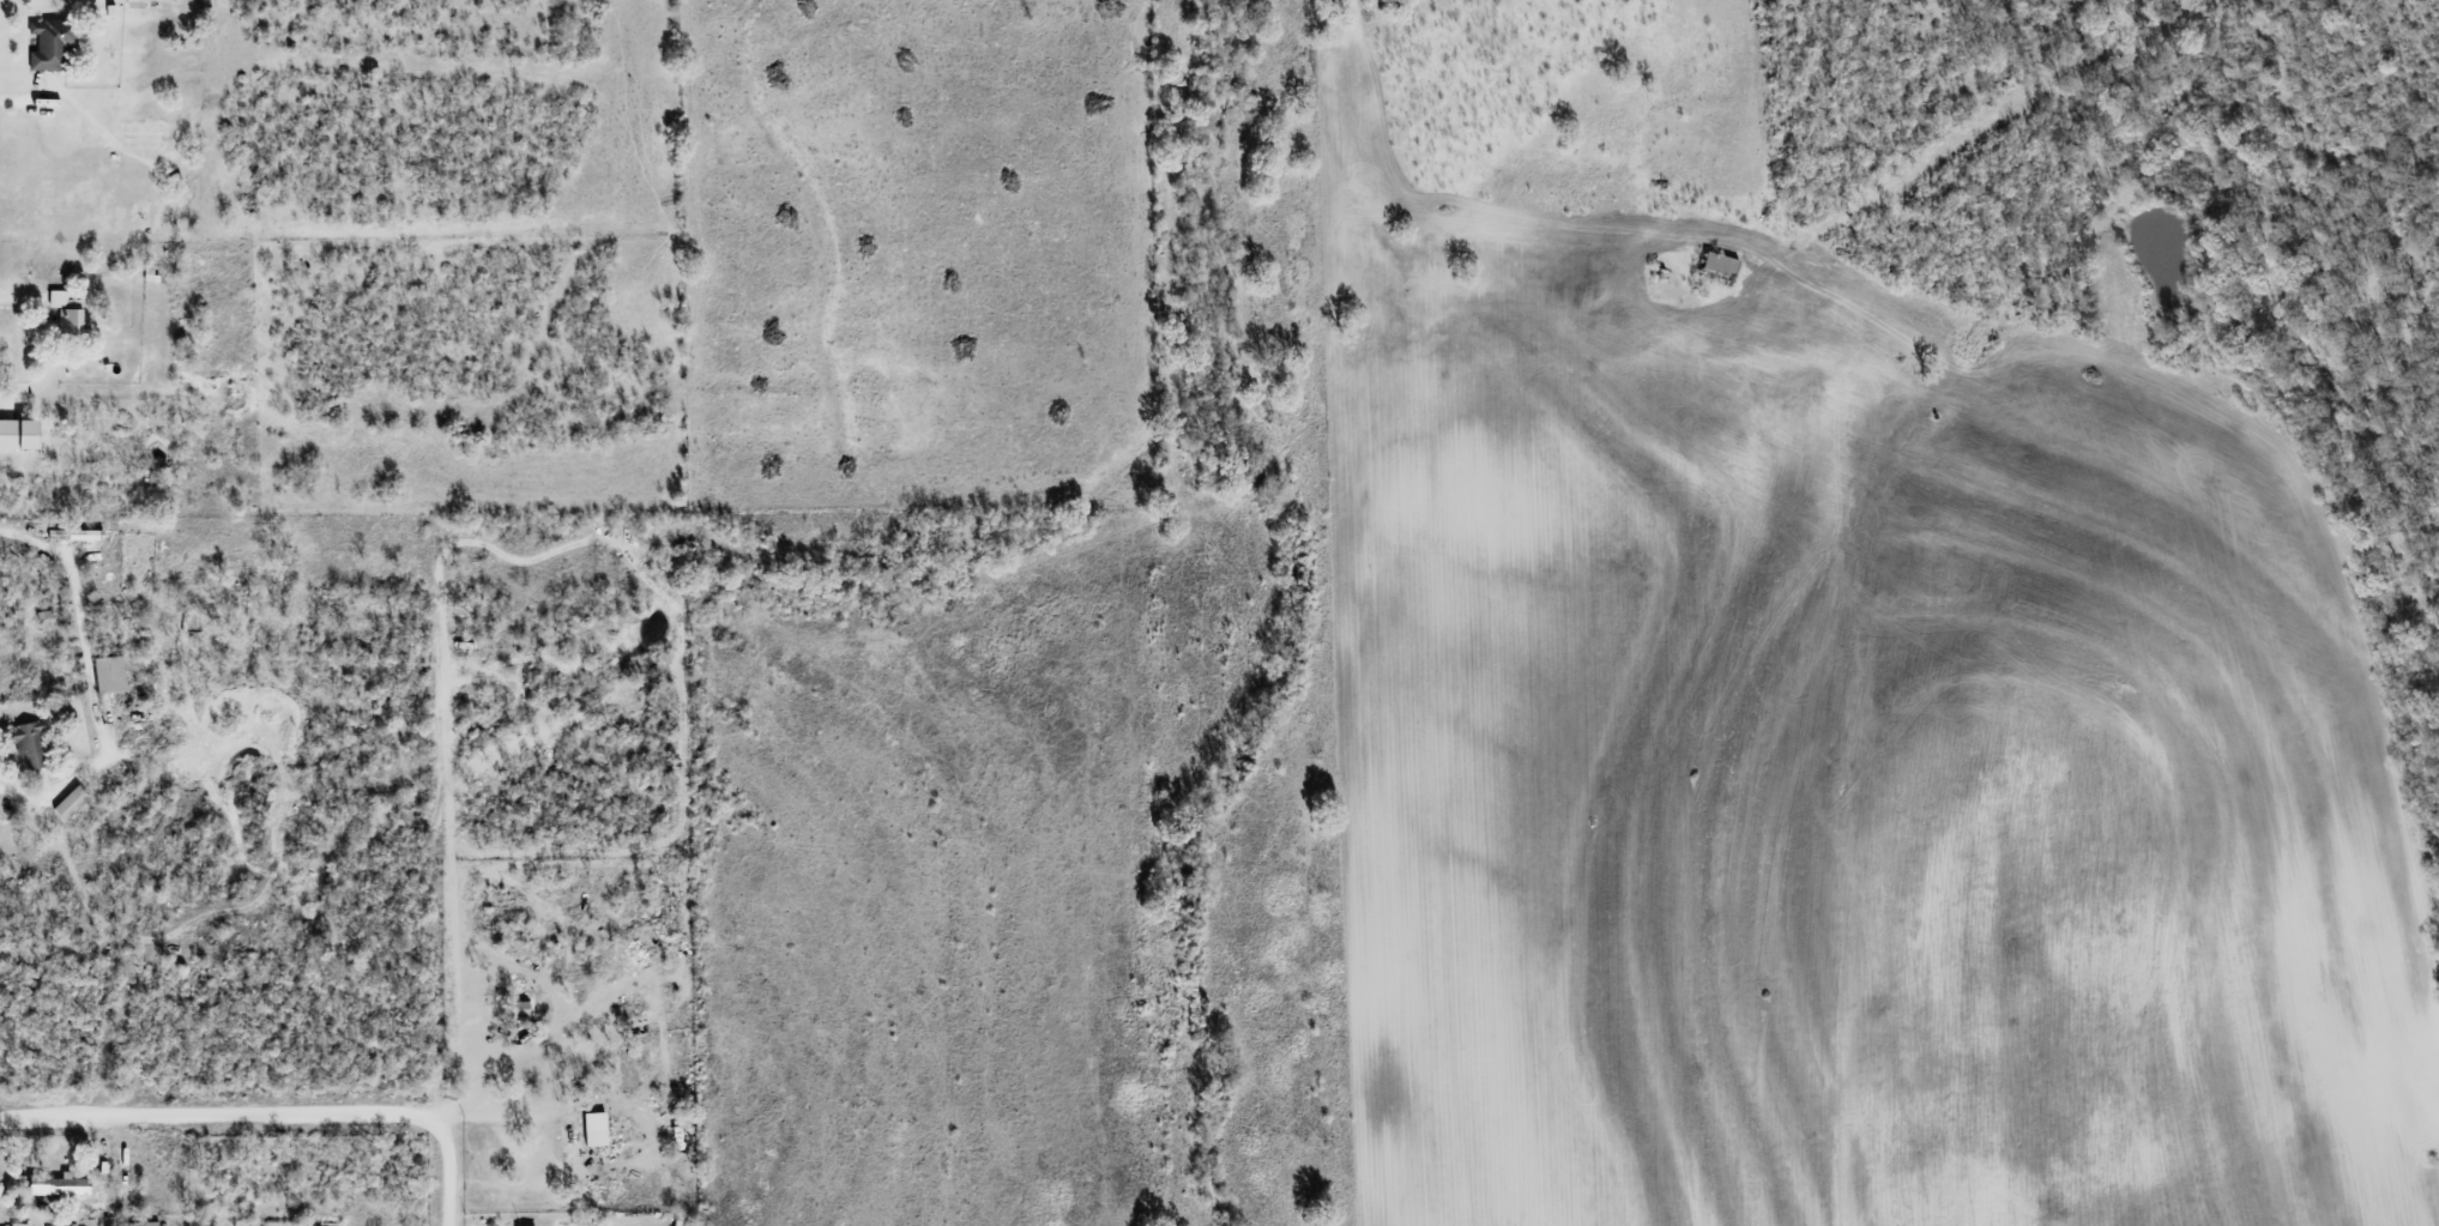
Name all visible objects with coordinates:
building: (50, 44)
road: (14, 98)
building: (1719, 266)
road: (16, 306)
building: (66, 313)
building: (18, 435)
building: (83, 535)
building: (110, 675)
road: (87, 676)
building: (30, 744)
building: (71, 803)
building: (520, 1009)
road: (497, 1111)
road: (271, 1118)
building: (594, 1129)
building: (58, 1185)
building: (596, 1191)
building: (144, 1224)
building: (19, 1225)

